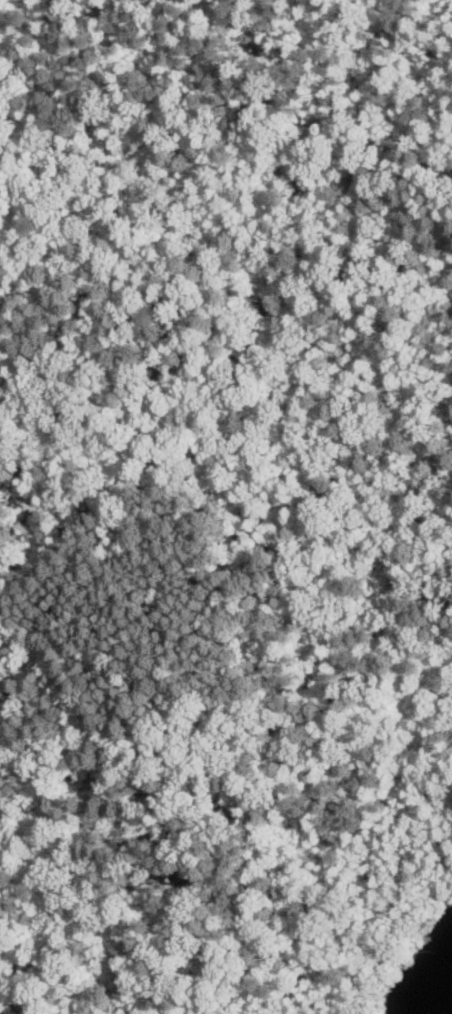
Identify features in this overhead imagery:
road: (227, 127)
road: (299, 804)

